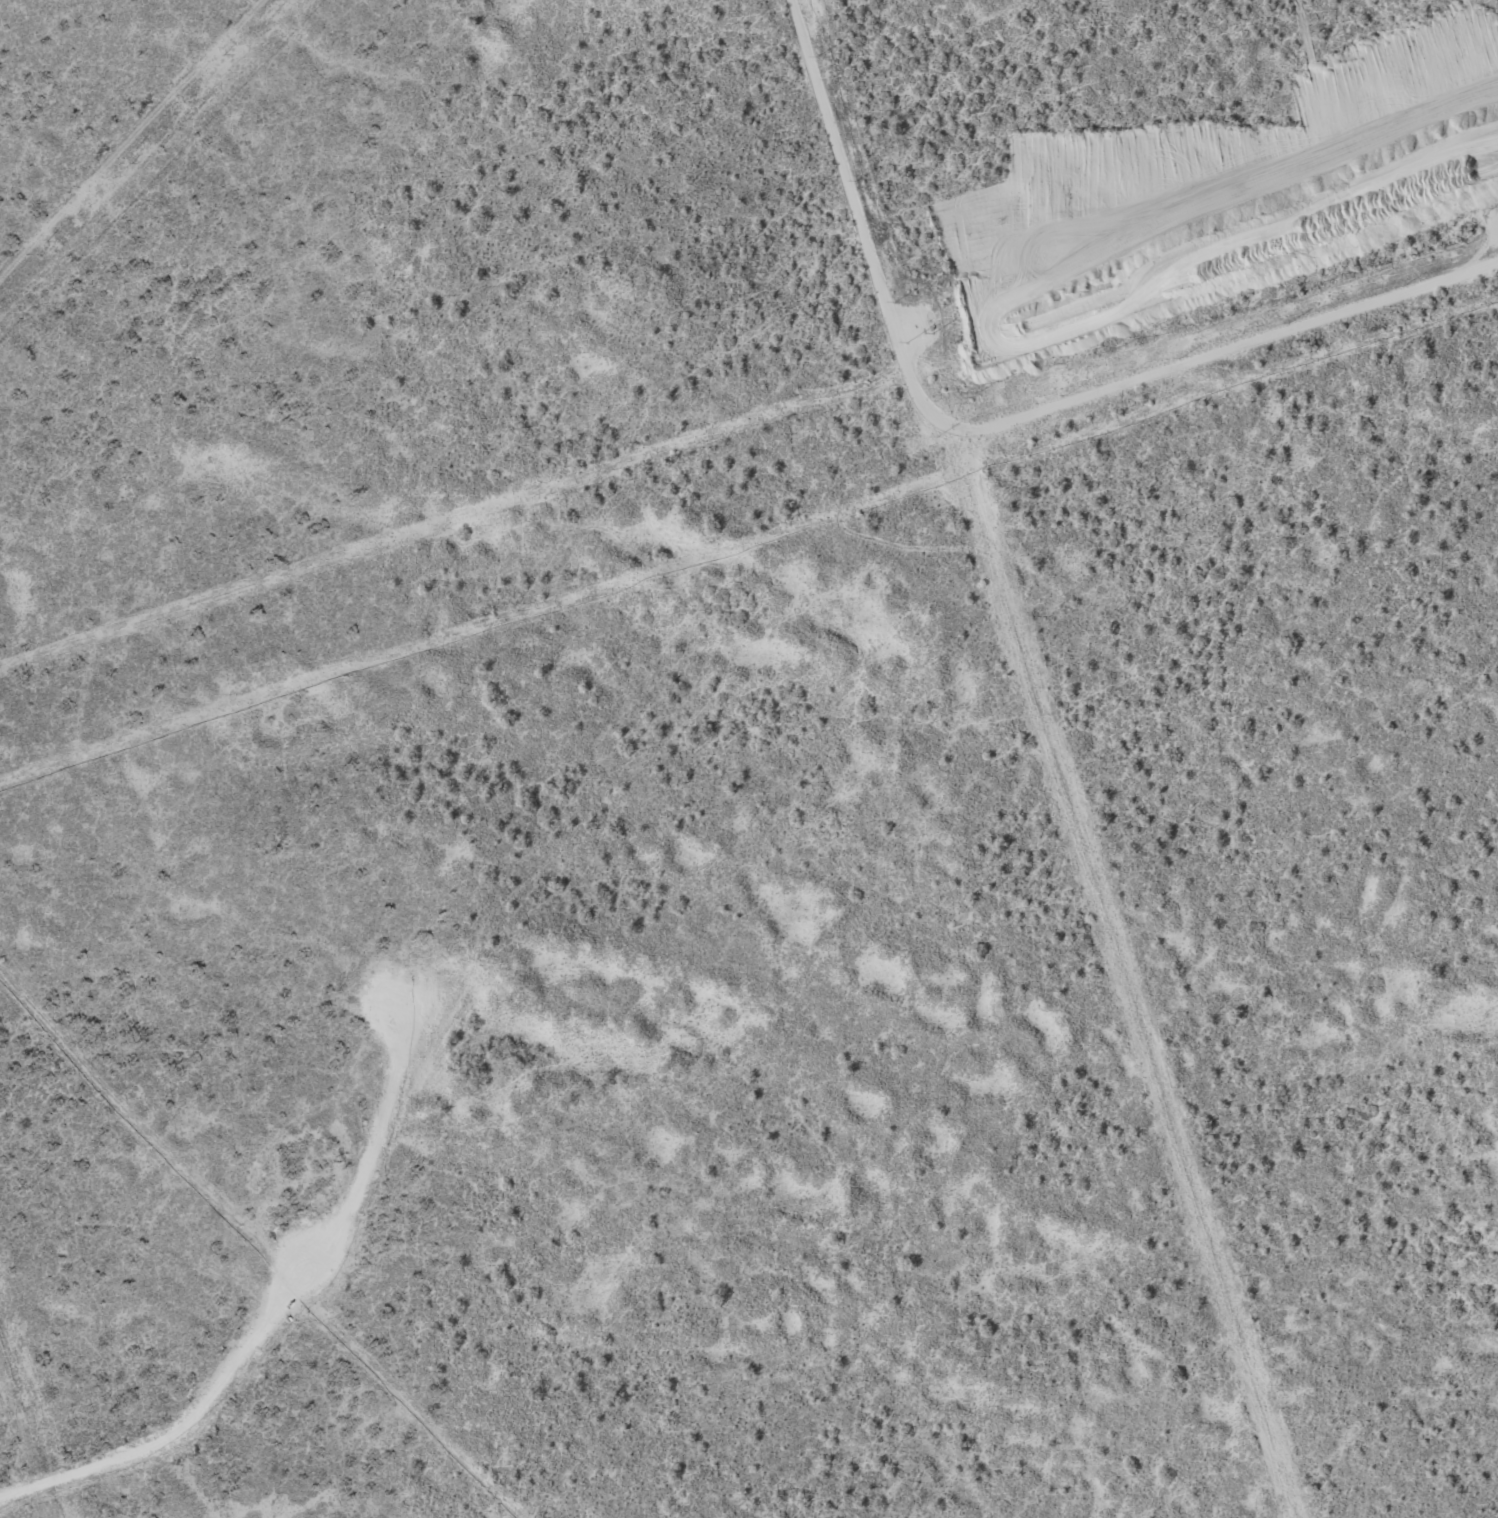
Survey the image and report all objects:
quarry: (1484, 44)

